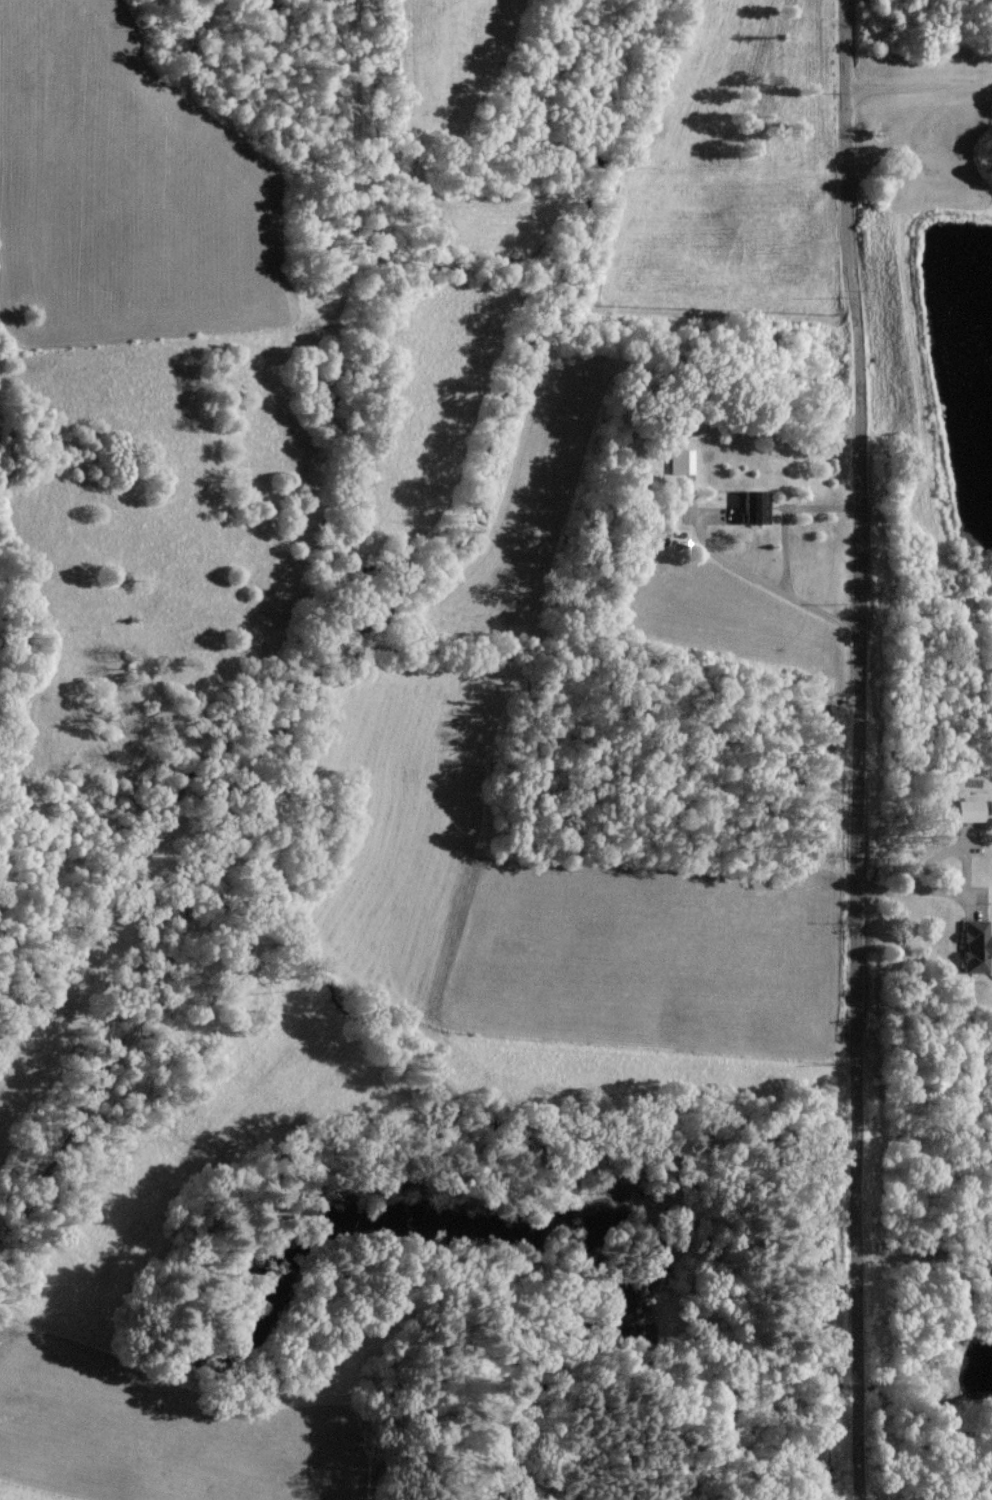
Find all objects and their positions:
road: (918, 86)
building: (678, 460)
building: (752, 505)
road: (786, 555)
road: (721, 556)
road: (854, 749)
building: (966, 809)
road: (912, 889)
building: (971, 945)

